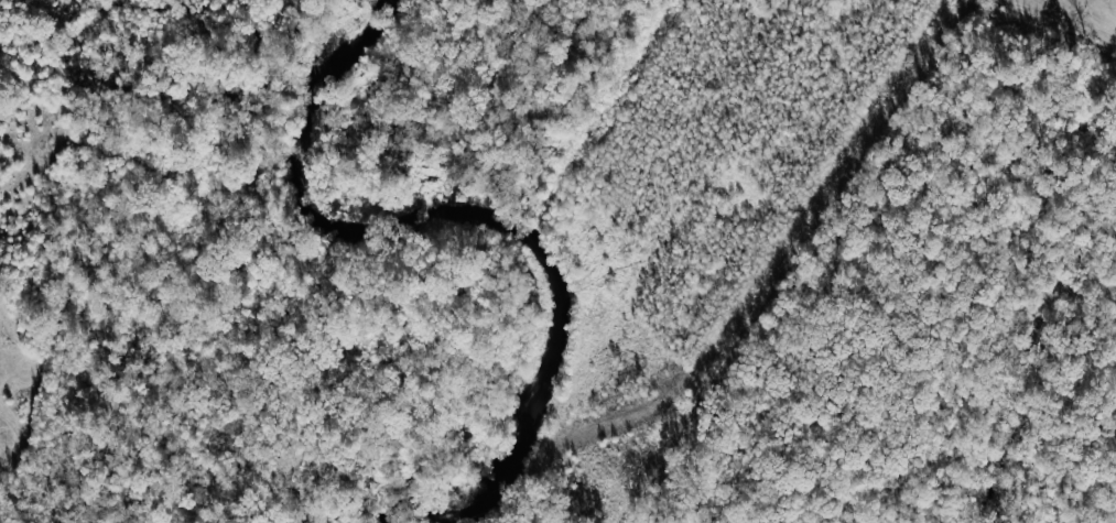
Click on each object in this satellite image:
river: (467, 217)

